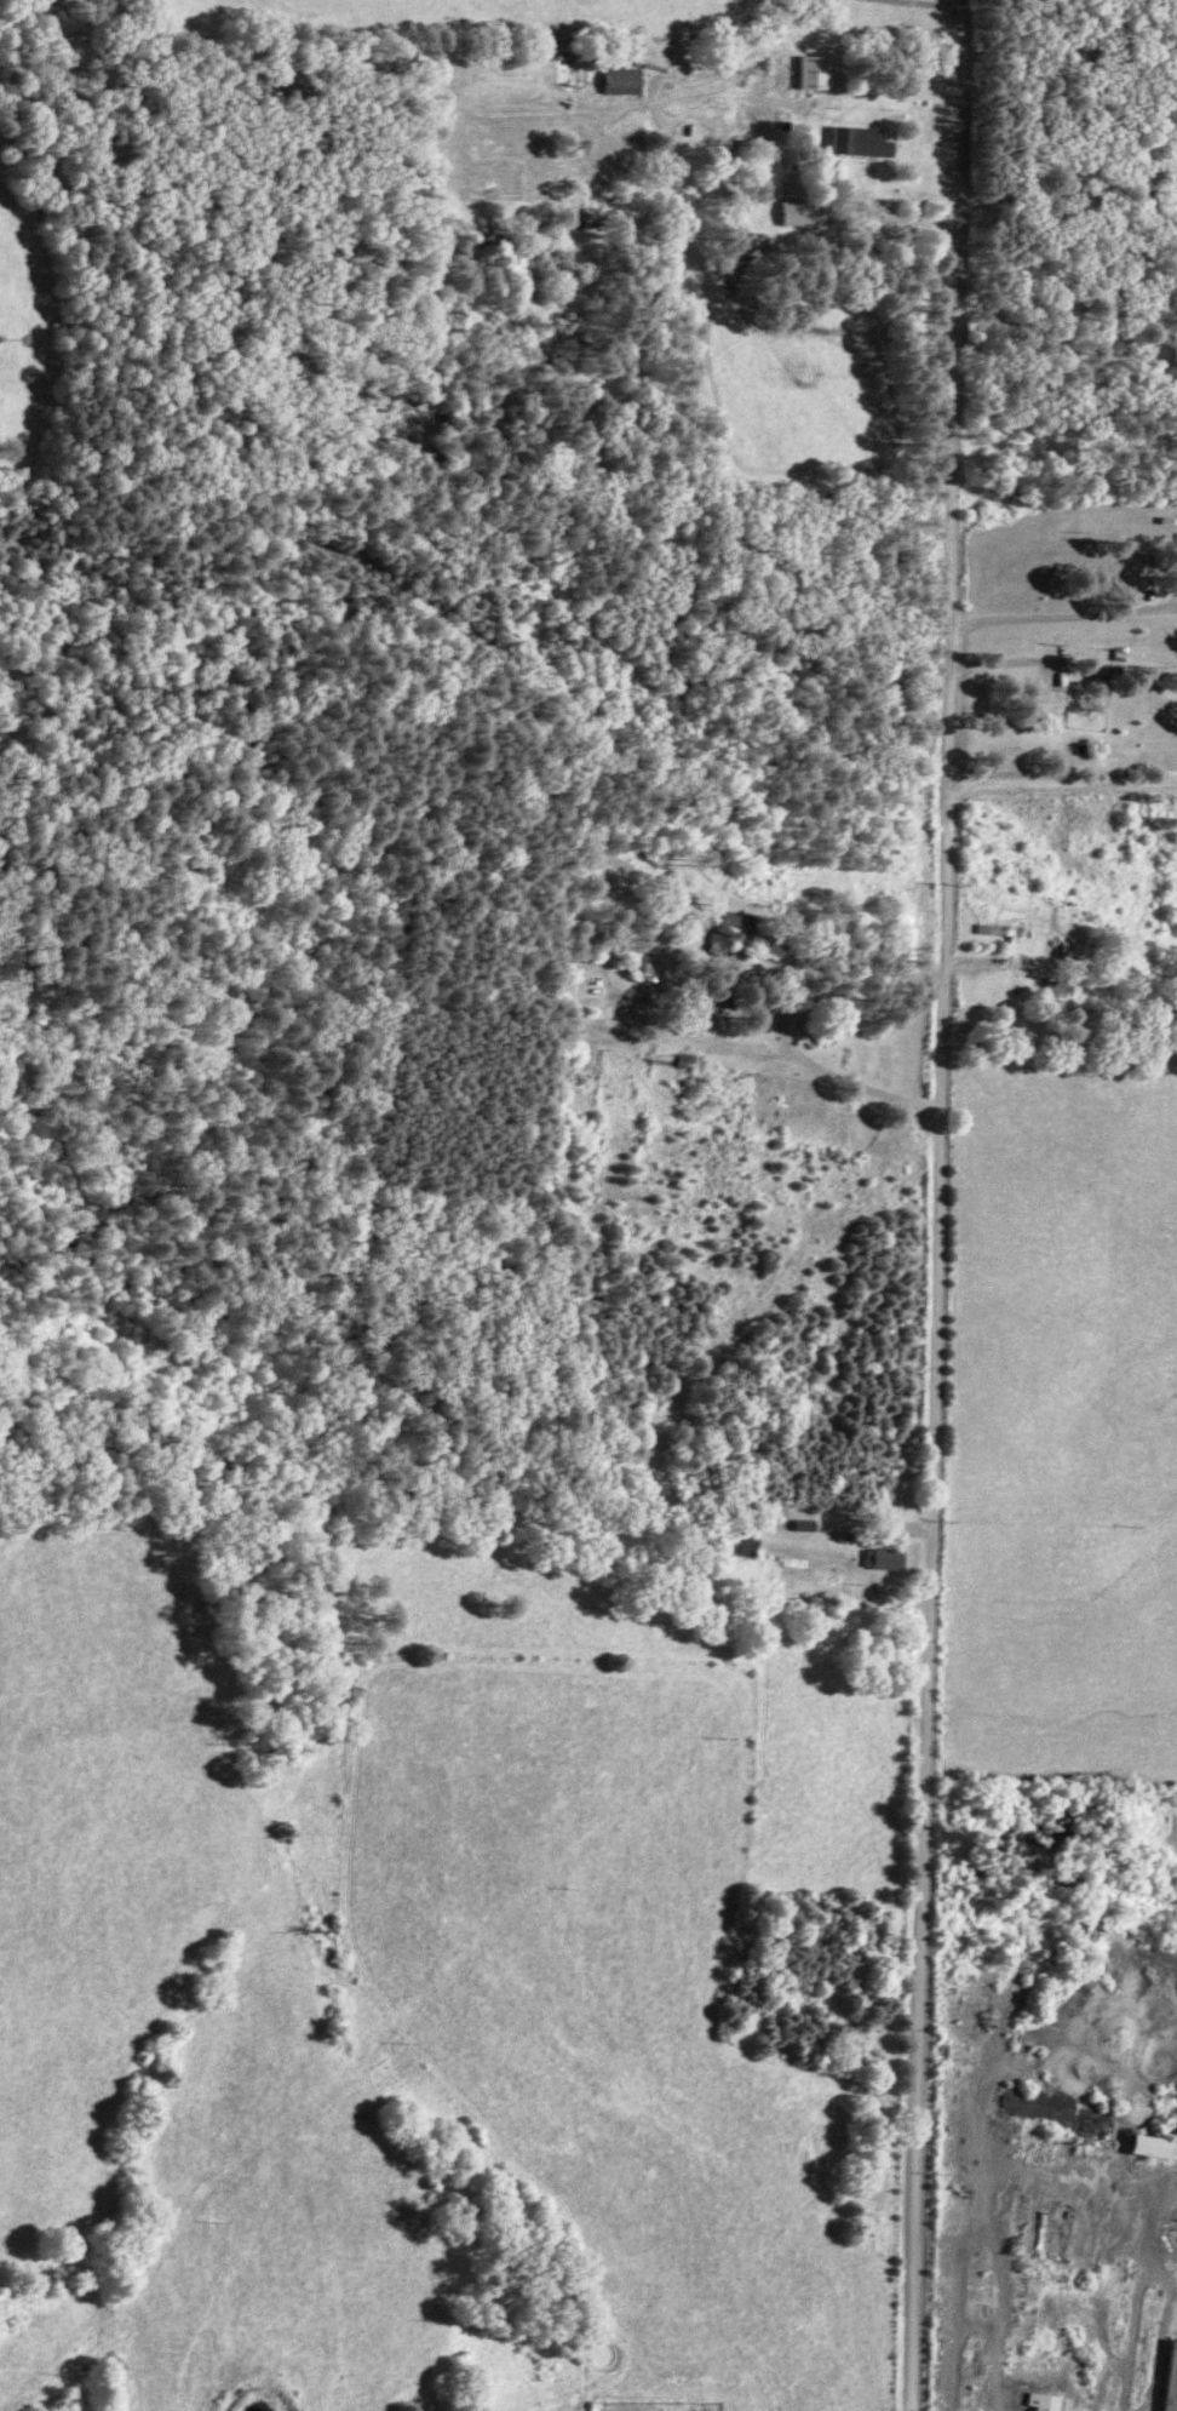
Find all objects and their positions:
building: (819, 70)
building: (627, 78)
building: (865, 139)
building: (800, 210)
road: (833, 216)
building: (736, 928)
building: (1005, 928)
road: (813, 957)
road: (936, 1205)
building: (892, 1558)
road: (1067, 2000)
building: (1044, 2103)
building: (1100, 2124)
building: (1155, 2146)
building: (1173, 2387)
building: (1055, 2401)

